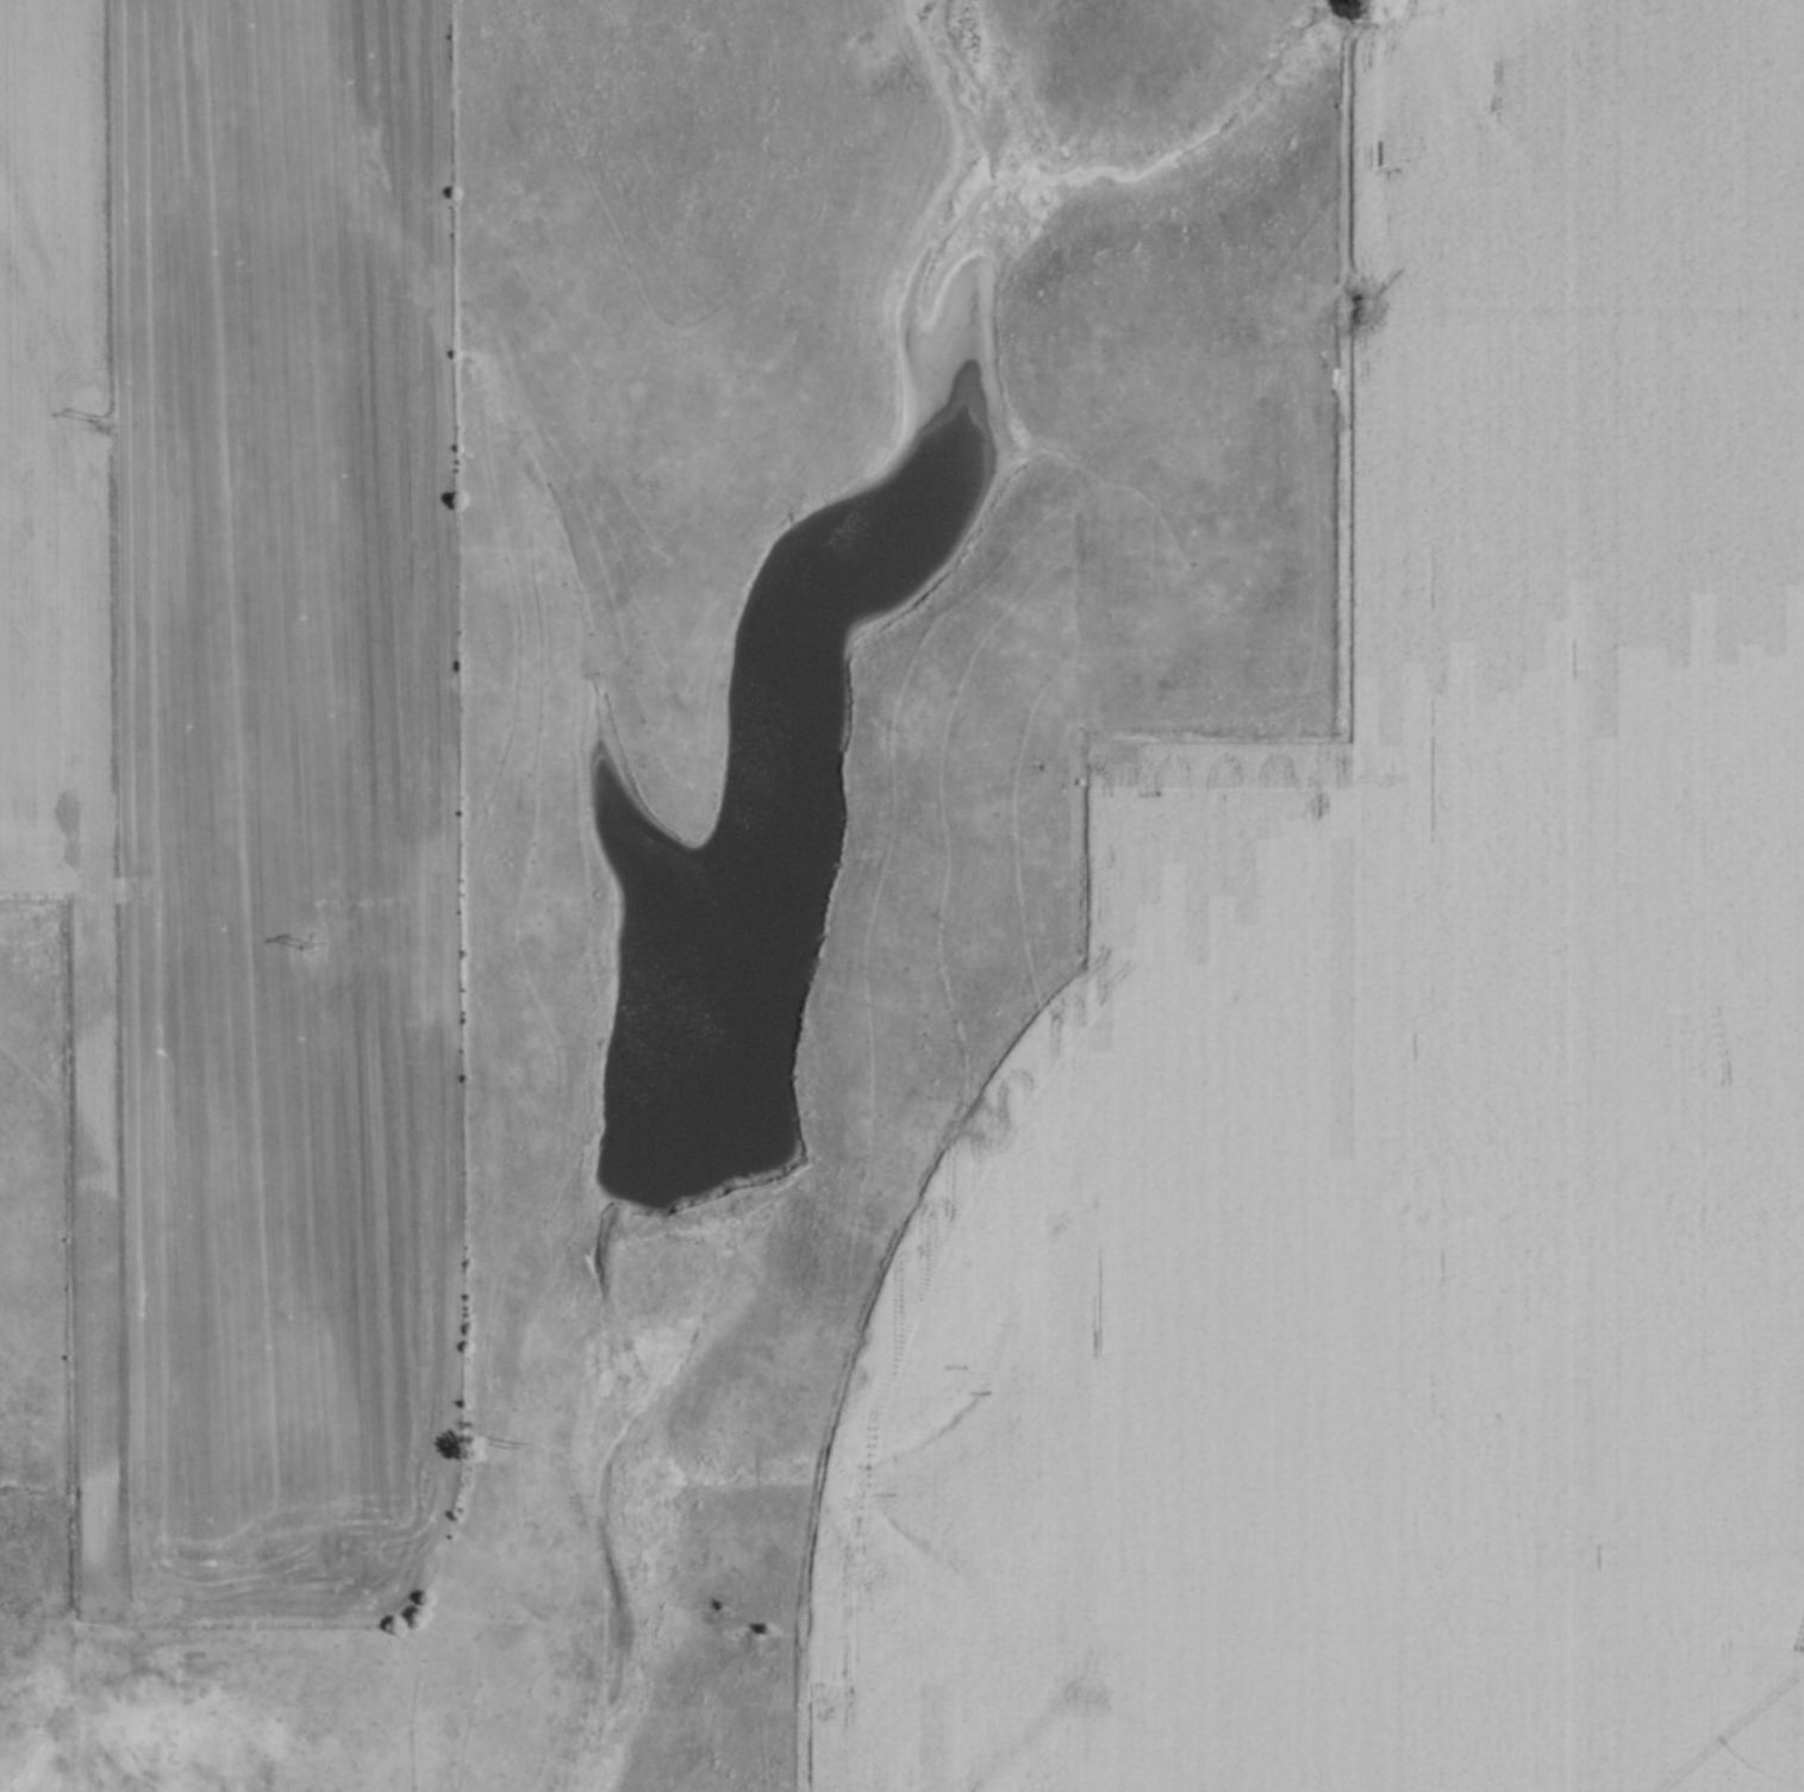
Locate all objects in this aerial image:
power tower: (95, 427)
power tower: (306, 947)
power tower: (506, 1438)

